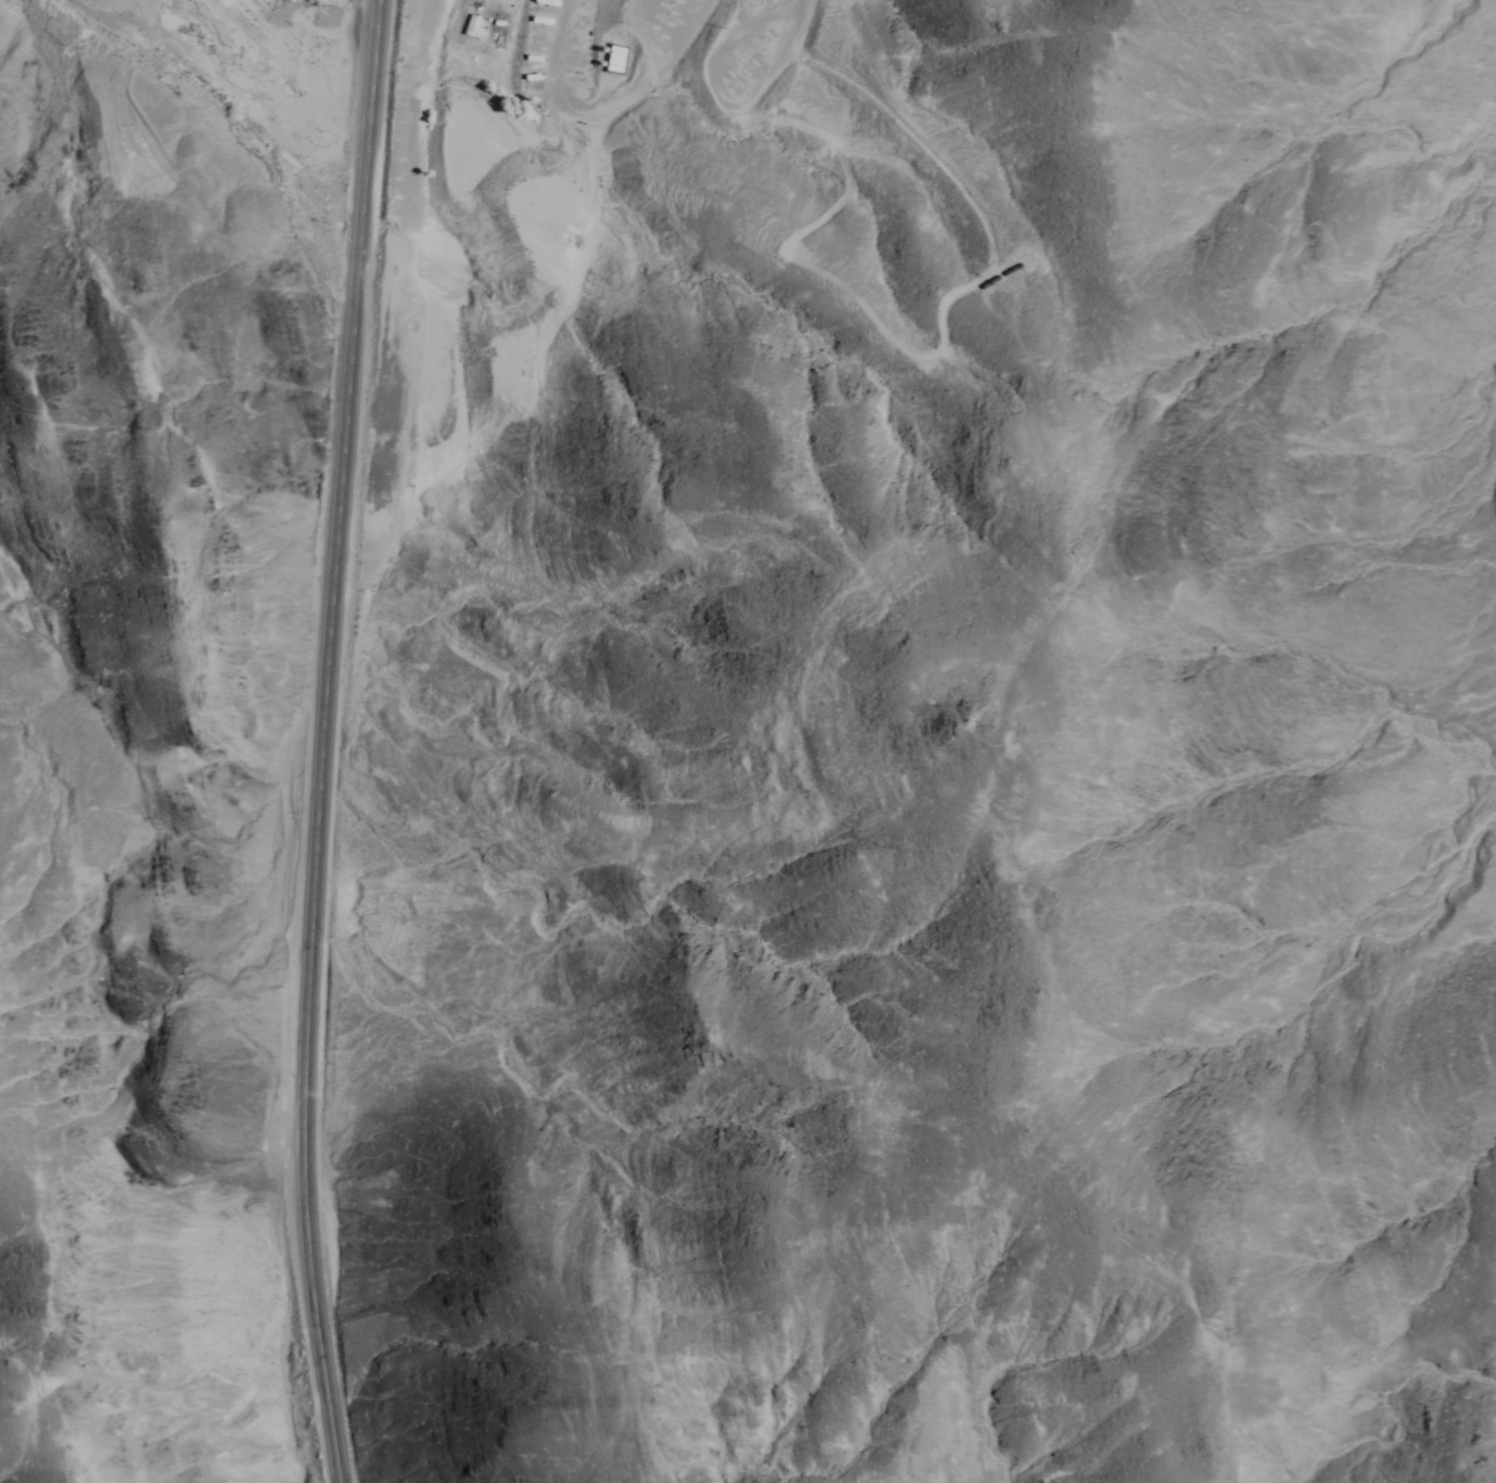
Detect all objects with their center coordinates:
road: (427, 18)
building: (475, 27)
road: (679, 55)
building: (615, 59)
road: (212, 71)
road: (559, 87)
road: (842, 204)
building: (1014, 271)
storage tank: (1014, 271)
building: (993, 285)
storage tank: (993, 285)
road: (1088, 506)
road: (324, 741)

